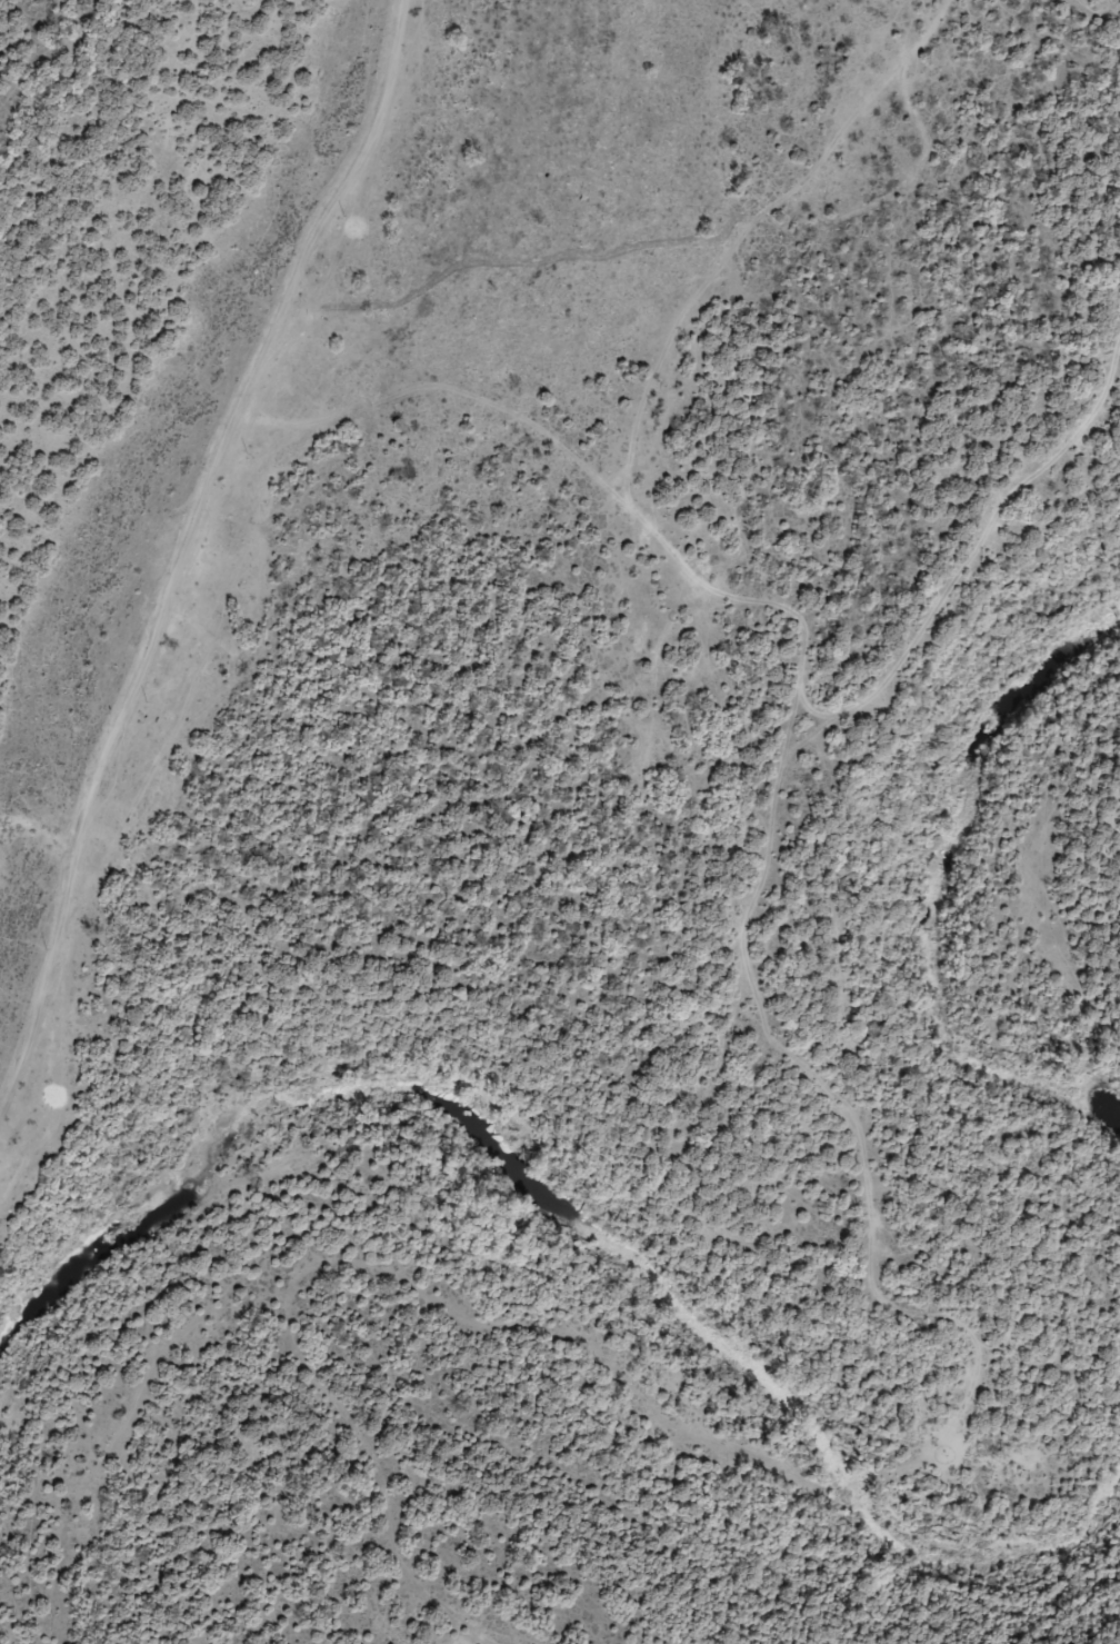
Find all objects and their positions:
road: (206, 639)

